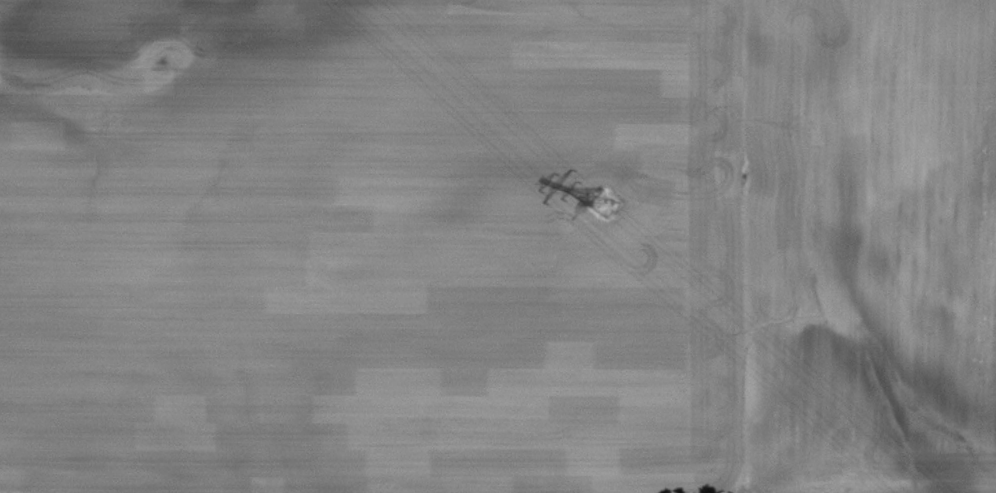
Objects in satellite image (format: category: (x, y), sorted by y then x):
power tower: (603, 202)

